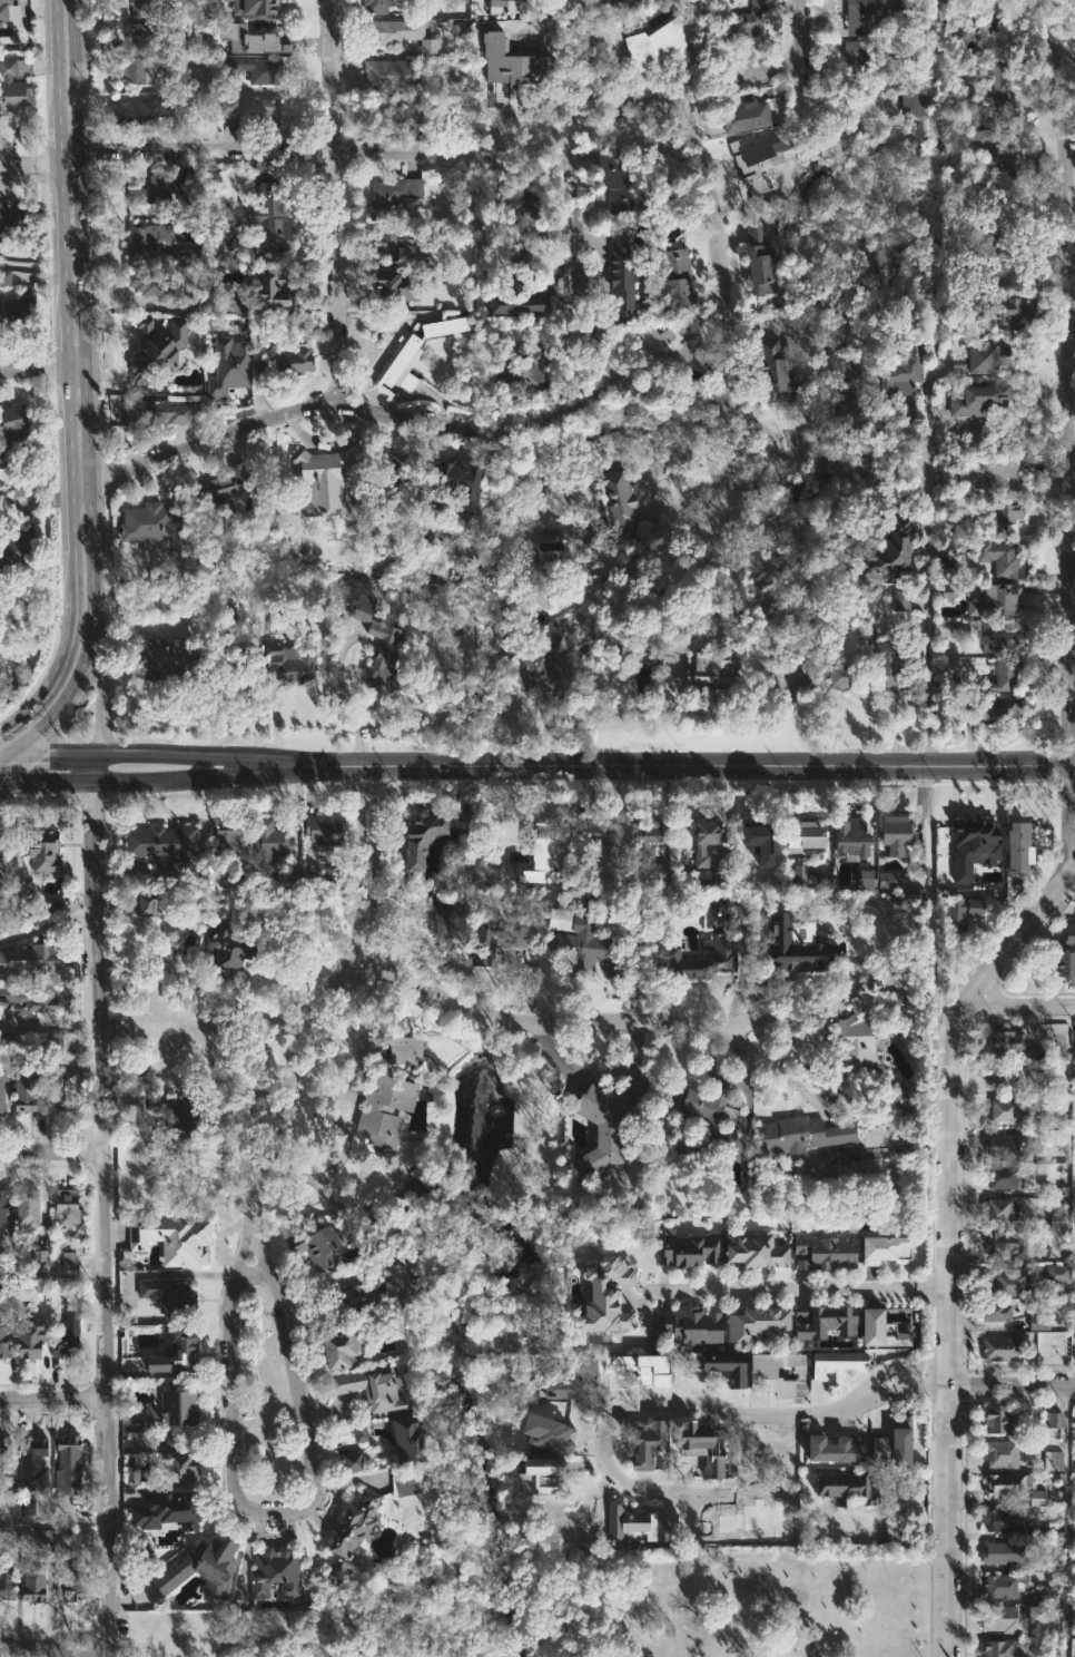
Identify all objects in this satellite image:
building: (524, 0)
building: (227, 3)
building: (145, 7)
building: (256, 7)
building: (376, 7)
building: (501, 7)
building: (917, 7)
building: (472, 8)
building: (10, 10)
building: (865, 12)
road: (802, 17)
building: (977, 21)
building: (739, 22)
building: (543, 26)
road: (1045, 29)
building: (394, 33)
building: (188, 36)
building: (253, 40)
building: (655, 45)
road: (1069, 52)
building: (855, 58)
building: (515, 59)
building: (257, 69)
building: (136, 71)
building: (387, 75)
building: (204, 80)
building: (993, 82)
building: (16, 88)
building: (869, 105)
building: (254, 109)
building: (394, 110)
building: (142, 111)
building: (741, 117)
building: (1002, 147)
building: (756, 153)
road: (456, 154)
road: (66, 158)
road: (26, 163)
building: (610, 182)
building: (165, 189)
building: (389, 197)
road: (333, 202)
building: (14, 216)
building: (269, 220)
building: (510, 220)
building: (146, 241)
building: (389, 244)
building: (978, 245)
road: (716, 249)
building: (878, 258)
building: (420, 259)
building: (755, 261)
road: (575, 263)
road: (28, 268)
building: (614, 271)
building: (672, 277)
road: (1072, 278)
building: (159, 284)
building: (268, 286)
building: (387, 288)
building: (514, 291)
road: (82, 293)
road: (56, 295)
building: (18, 303)
building: (237, 306)
building: (1008, 308)
building: (443, 327)
building: (662, 347)
building: (156, 349)
building: (975, 356)
building: (396, 359)
building: (290, 362)
building: (227, 366)
road: (72, 367)
building: (525, 369)
road: (29, 370)
building: (773, 370)
building: (896, 370)
building: (973, 396)
building: (152, 412)
road: (403, 416)
building: (16, 430)
road: (686, 455)
building: (975, 471)
building: (392, 474)
building: (323, 477)
building: (440, 482)
road: (80, 489)
building: (214, 493)
road: (33, 500)
building: (614, 506)
building: (1005, 514)
building: (148, 521)
building: (889, 547)
building: (7, 553)
building: (997, 558)
road: (926, 579)
building: (948, 594)
building: (998, 599)
building: (901, 600)
building: (354, 605)
building: (1000, 641)
building: (381, 647)
building: (169, 659)
building: (533, 659)
building: (292, 661)
building: (891, 661)
building: (707, 669)
road: (98, 670)
road: (56, 673)
building: (1003, 674)
building: (837, 675)
road: (75, 683)
building: (986, 706)
road: (55, 754)
road: (152, 754)
road: (4, 755)
traffic signals: (9, 755)
road: (238, 755)
road: (4, 757)
road: (673, 761)
road: (137, 778)
road: (926, 821)
building: (318, 828)
building: (594, 831)
building: (892, 832)
building: (805, 834)
building: (225, 835)
building: (849, 835)
building: (267, 837)
building: (414, 839)
building: (759, 841)
building: (701, 842)
building: (644, 843)
building: (2, 844)
building: (165, 844)
building: (1018, 847)
building: (47, 850)
building: (974, 852)
building: (531, 854)
building: (541, 857)
road: (1072, 867)
building: (799, 873)
building: (332, 876)
building: (293, 877)
building: (866, 879)
building: (887, 880)
building: (3, 898)
building: (66, 902)
building: (148, 904)
building: (238, 909)
building: (713, 911)
building: (957, 912)
road: (47, 924)
building: (441, 932)
building: (1068, 935)
building: (489, 940)
building: (580, 943)
building: (797, 948)
building: (716, 951)
building: (225, 953)
building: (43, 955)
building: (1063, 964)
road: (740, 972)
road: (327, 994)
building: (31, 998)
road: (1019, 1001)
road: (553, 1022)
road: (48, 1027)
building: (864, 1037)
building: (53, 1039)
building: (1004, 1041)
building: (367, 1049)
building: (1008, 1078)
road: (790, 1079)
building: (2, 1088)
building: (63, 1090)
building: (27, 1092)
building: (379, 1092)
building: (1010, 1107)
building: (176, 1116)
building: (704, 1125)
building: (596, 1128)
building: (801, 1134)
building: (1052, 1137)
building: (1000, 1145)
road: (50, 1151)
building: (1000, 1176)
building: (414, 1190)
road: (950, 1193)
building: (68, 1205)
road: (101, 1205)
building: (30, 1210)
building: (995, 1210)
building: (3, 1214)
building: (1055, 1220)
building: (382, 1226)
building: (176, 1237)
building: (1006, 1244)
building: (316, 1247)
building: (688, 1248)
building: (885, 1249)
building: (753, 1251)
building: (820, 1253)
building: (40, 1257)
building: (70, 1259)
road: (51, 1273)
building: (1056, 1274)
building: (1005, 1283)
building: (382, 1287)
road: (800, 1288)
building: (169, 1296)
building: (604, 1296)
building: (995, 1311)
building: (822, 1322)
building: (1038, 1322)
building: (692, 1325)
building: (752, 1325)
building: (879, 1330)
building: (6, 1336)
building: (71, 1336)
building: (34, 1339)
building: (337, 1347)
building: (999, 1349)
building: (170, 1354)
building: (836, 1365)
building: (639, 1367)
building: (727, 1367)
road: (892, 1373)
building: (778, 1374)
building: (571, 1377)
road: (1012, 1385)
road: (895, 1386)
building: (365, 1391)
road: (53, 1400)
road: (638, 1401)
building: (168, 1409)
building: (998, 1420)
building: (1054, 1420)
building: (1073, 1429)
building: (359, 1432)
building: (398, 1434)
building: (550, 1434)
building: (177, 1442)
building: (894, 1443)
building: (645, 1444)
building: (703, 1447)
building: (7, 1448)
building: (832, 1450)
building: (999, 1452)
building: (38, 1454)
building: (352, 1461)
building: (1053, 1461)
building: (71, 1463)
building: (178, 1464)
building: (132, 1474)
building: (542, 1475)
road: (236, 1477)
building: (1006, 1483)
building: (846, 1486)
building: (8, 1490)
building: (1037, 1498)
building: (27, 1507)
building: (167, 1510)
road: (53, 1520)
building: (999, 1520)
road: (1064, 1520)
building: (641, 1524)
building: (348, 1529)
building: (1044, 1531)
building: (997, 1552)
building: (196, 1567)
building: (275, 1572)
building: (9, 1578)
building: (37, 1584)
building: (75, 1585)
building: (999, 1587)
building: (1048, 1594)
park: (576, 1609)
building: (1009, 1617)
road: (55, 1646)
building: (997, 1648)

